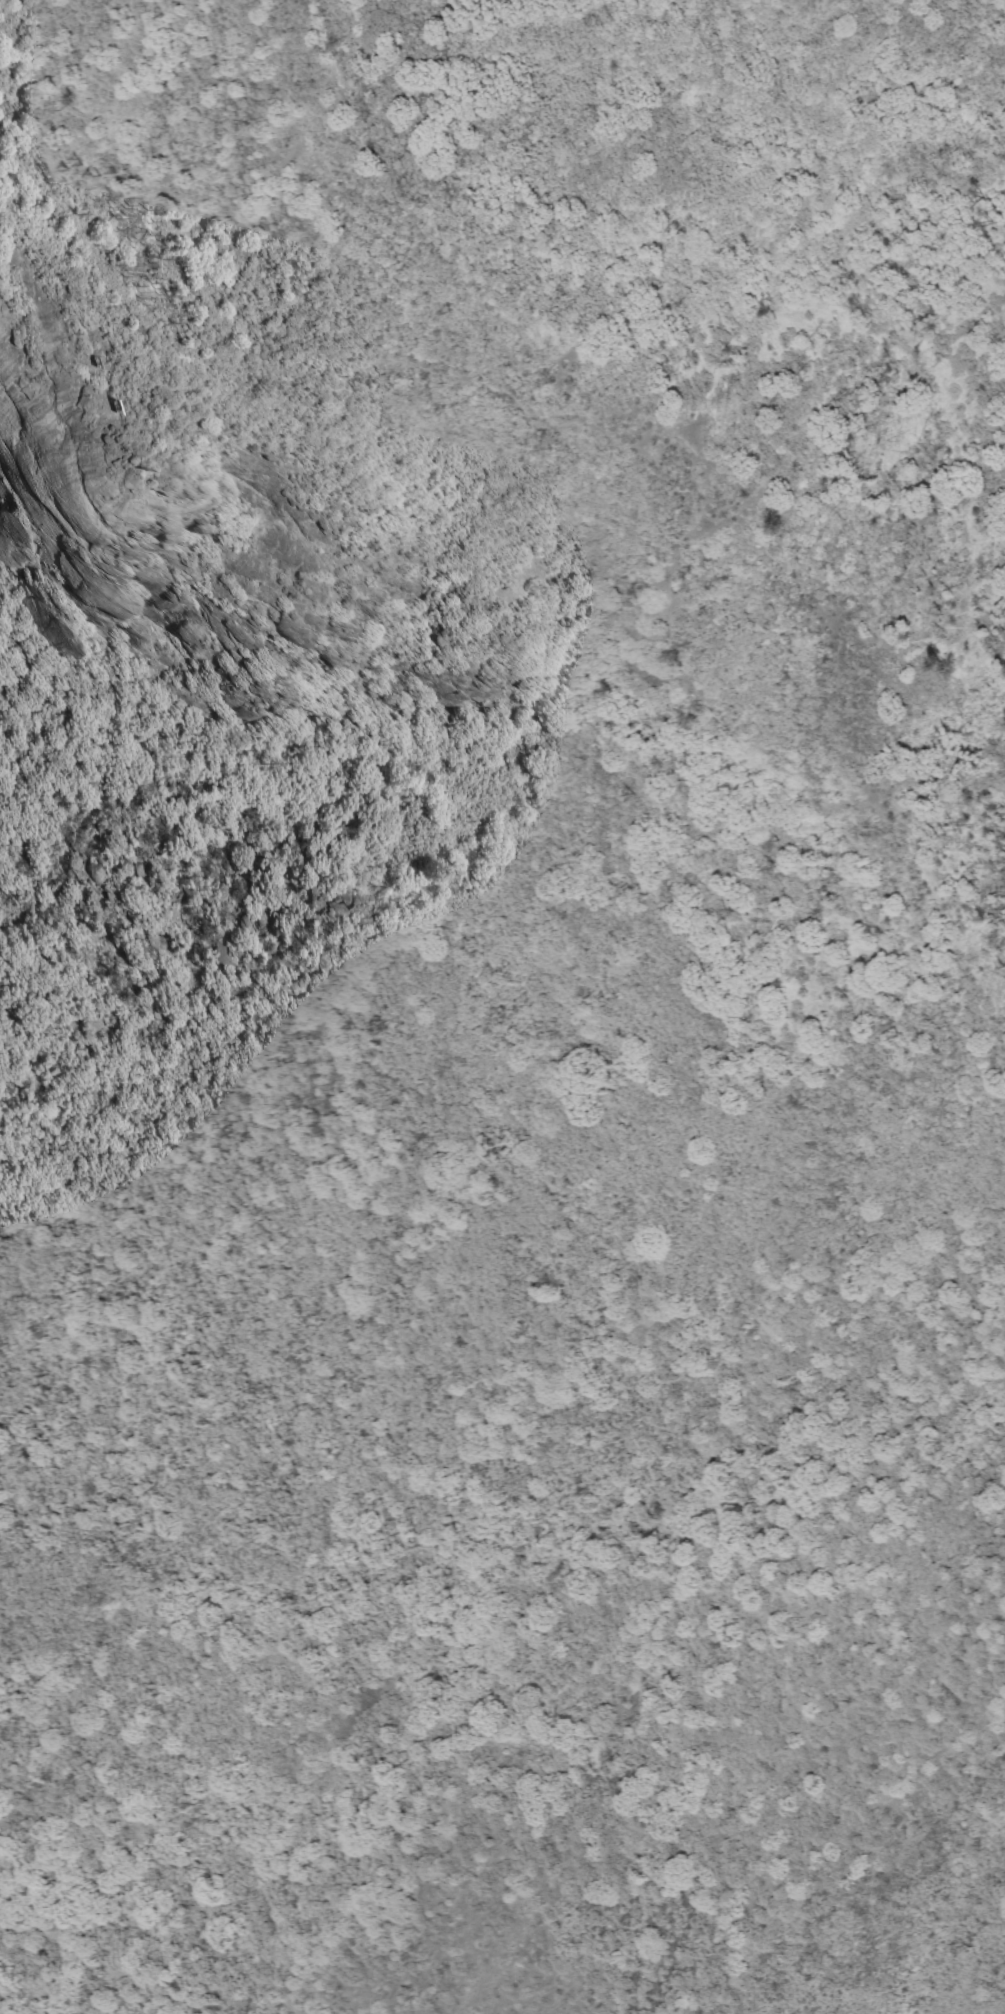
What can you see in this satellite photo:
road: (687, 475)

